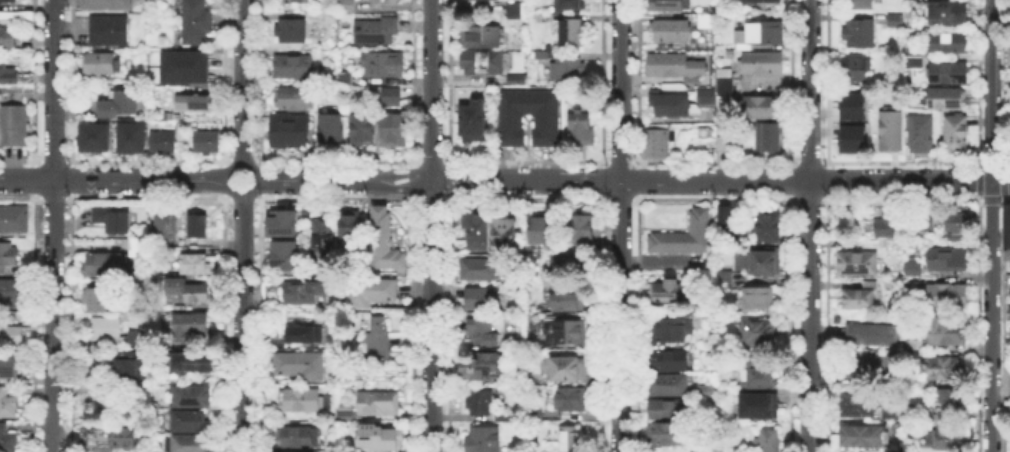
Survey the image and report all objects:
building: (9, 1)
building: (763, 1)
building: (297, 2)
building: (861, 4)
building: (109, 5)
building: (571, 5)
building: (348, 6)
building: (667, 6)
building: (511, 9)
building: (947, 13)
building: (897, 21)
building: (198, 22)
building: (707, 22)
building: (111, 31)
building: (292, 31)
building: (376, 32)
building: (672, 32)
building: (761, 34)
building: (574, 35)
building: (861, 35)
building: (9, 38)
building: (483, 39)
building: (949, 44)
building: (1007, 53)
building: (913, 56)
building: (483, 63)
building: (103, 64)
building: (765, 64)
building: (184, 65)
building: (385, 65)
building: (563, 66)
building: (674, 66)
building: (294, 67)
building: (856, 67)
building: (949, 74)
building: (14, 75)
building: (345, 80)
building: (518, 81)
road: (242, 83)
building: (726, 83)
road: (53, 89)
road: (430, 90)
road: (621, 90)
road: (990, 90)
building: (393, 97)
building: (292, 98)
building: (574, 98)
building: (708, 98)
building: (948, 100)
building: (195, 102)
building: (1009, 102)
building: (851, 105)
building: (122, 106)
building: (671, 106)
building: (763, 108)
building: (473, 119)
building: (14, 126)
building: (583, 127)
building: (364, 129)
building: (290, 130)
building: (332, 130)
building: (892, 130)
building: (394, 131)
building: (547, 131)
building: (957, 134)
building: (921, 135)
building: (130, 136)
building: (98, 138)
building: (850, 138)
building: (769, 139)
building: (163, 142)
building: (208, 144)
building: (724, 144)
building: (656, 145)
road: (114, 179)
road: (322, 180)
road: (409, 180)
road: (451, 180)
road: (740, 180)
road: (249, 192)
building: (113, 219)
building: (15, 220)
building: (280, 221)
building: (724, 221)
building: (958, 221)
building: (766, 224)
building: (889, 224)
building: (199, 225)
building: (351, 225)
road: (808, 225)
building: (924, 226)
building: (166, 227)
building: (1005, 227)
building: (584, 229)
building: (542, 231)
building: (476, 232)
building: (507, 234)
building: (290, 237)
building: (685, 237)
building: (324, 239)
building: (385, 239)
building: (141, 248)
building: (8, 254)
building: (283, 254)
building: (757, 259)
road: (654, 260)
building: (948, 261)
building: (106, 264)
building: (570, 264)
building: (858, 264)
building: (196, 265)
building: (478, 269)
building: (914, 270)
building: (722, 277)
building: (374, 290)
building: (303, 292)
building: (670, 292)
building: (17, 294)
building: (194, 294)
building: (862, 297)
building: (947, 297)
building: (481, 298)
building: (759, 299)
building: (98, 300)
building: (571, 301)
building: (1009, 307)
road: (53, 315)
road: (430, 316)
road: (619, 316)
road: (989, 316)
building: (192, 323)
road: (243, 323)
building: (105, 329)
building: (673, 330)
building: (483, 332)
building: (568, 332)
building: (759, 332)
building: (948, 333)
building: (11, 335)
building: (306, 335)
building: (873, 335)
building: (1008, 335)
building: (134, 339)
building: (379, 339)
building: (913, 349)
building: (670, 359)
building: (193, 362)
building: (11, 365)
building: (130, 365)
building: (302, 365)
building: (484, 366)
building: (876, 368)
building: (574, 370)
building: (942, 370)
building: (764, 380)
building: (670, 384)
building: (708, 394)
building: (192, 397)
building: (572, 400)
building: (301, 401)
building: (375, 401)
building: (480, 403)
building: (942, 404)
building: (9, 405)
building: (758, 405)
building: (860, 406)
building: (670, 409)
building: (893, 413)
building: (343, 414)
building: (506, 418)
building: (189, 421)
building: (668, 435)
building: (378, 436)
building: (293, 437)
building: (863, 437)
building: (567, 438)
building: (7, 439)
building: (110, 439)
building: (484, 440)
building: (949, 440)
building: (769, 441)
building: (190, 444)
building: (282, 451)
building: (300, 451)

